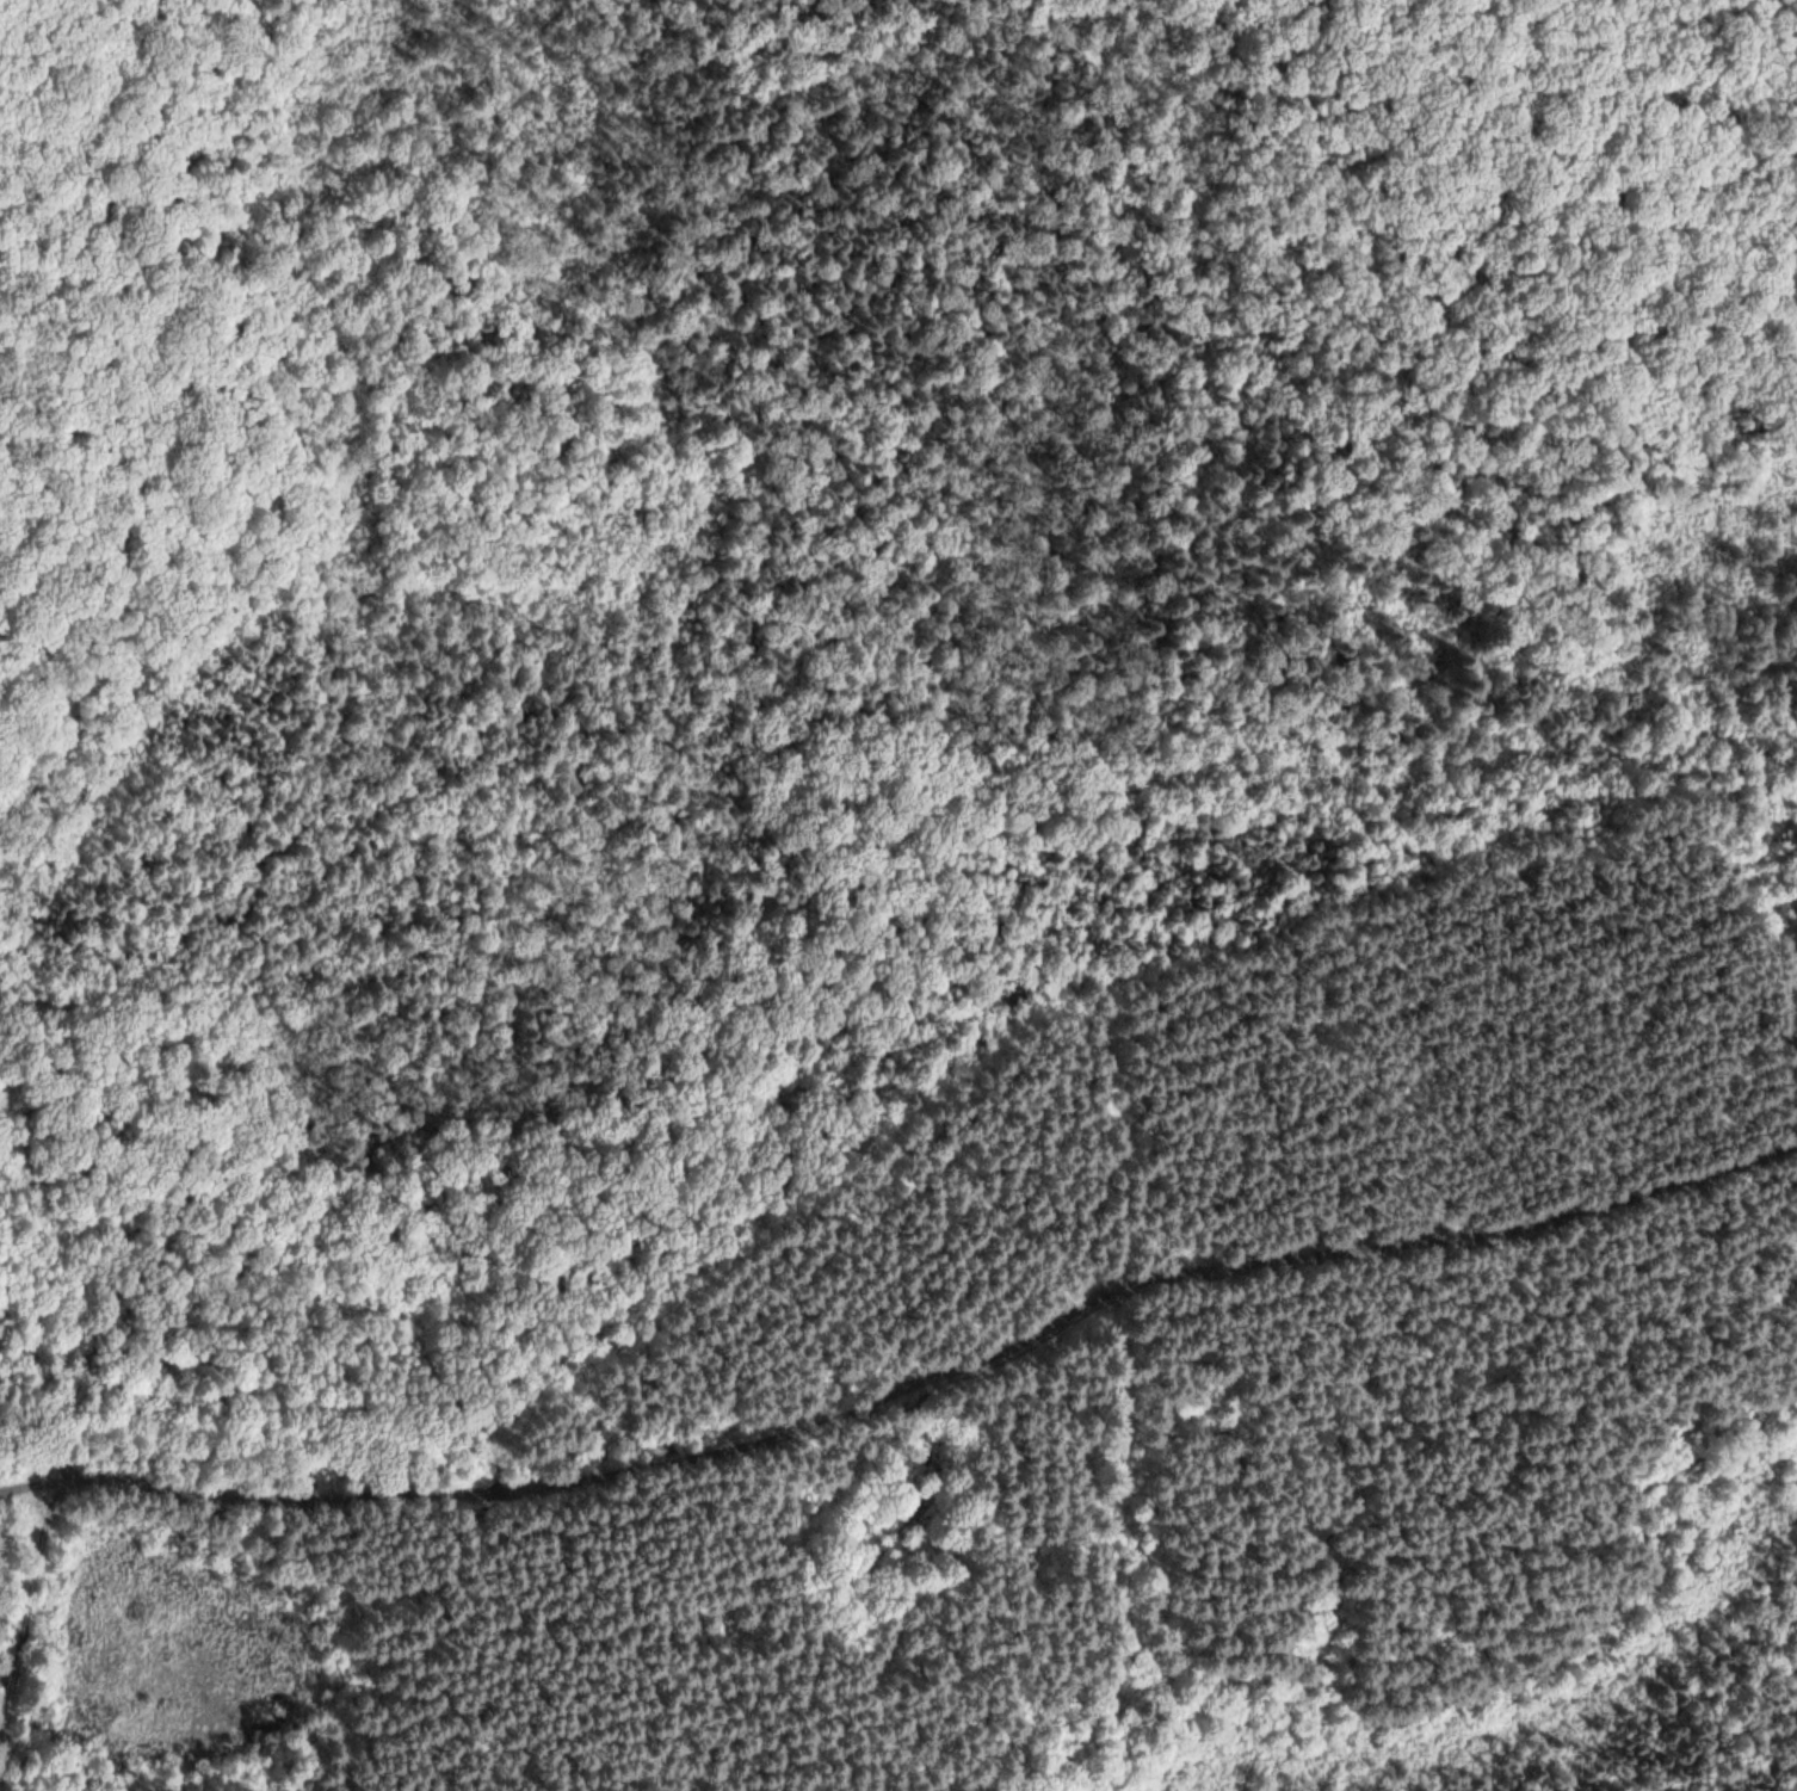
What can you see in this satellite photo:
road: (1513, 1353)
road: (790, 1427)
road: (27, 1483)
road: (881, 1614)

